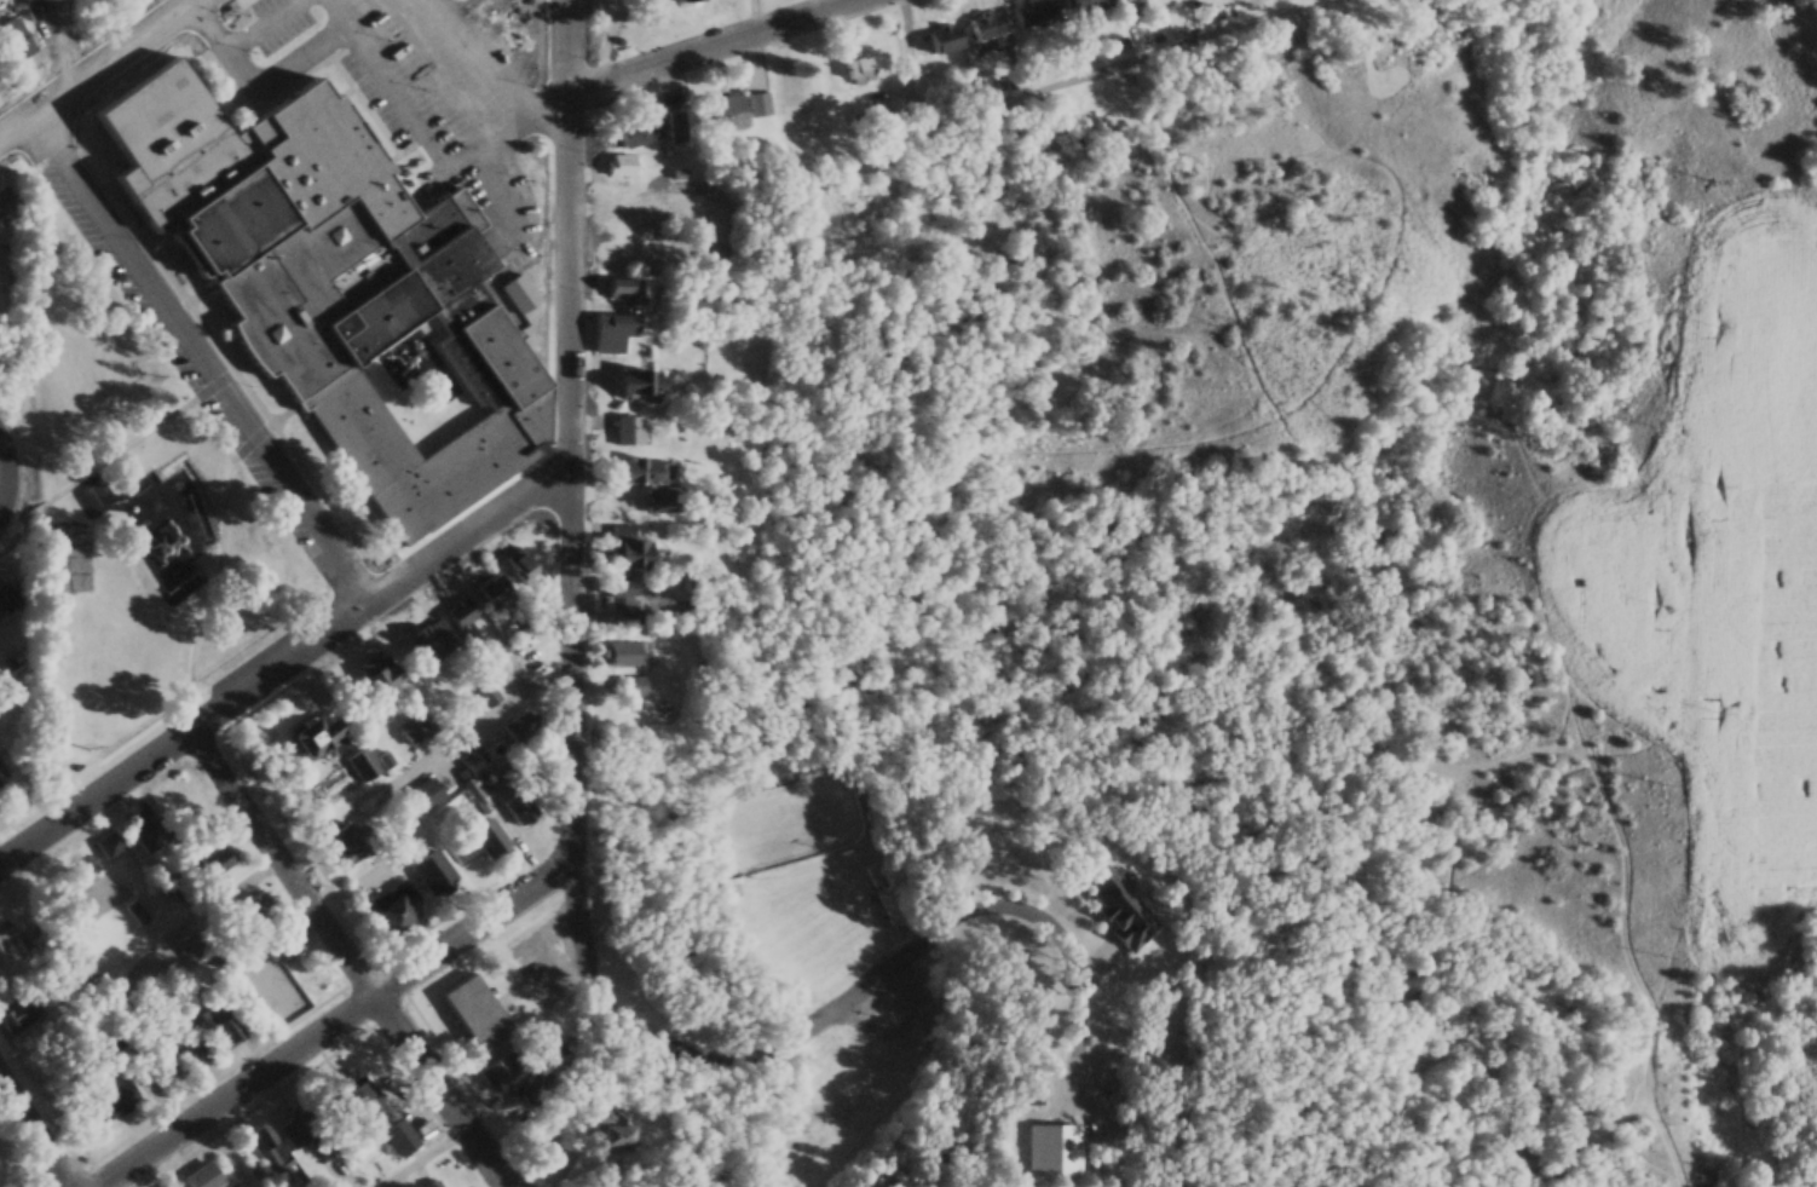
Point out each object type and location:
building: (688, 0)
building: (1080, 4)
building: (1029, 12)
building: (984, 25)
building: (940, 40)
building: (12, 41)
road: (704, 44)
road: (67, 50)
road: (100, 70)
building: (856, 70)
building: (731, 110)
building: (870, 117)
building: (674, 126)
building: (634, 133)
building: (623, 167)
building: (5, 201)
building: (618, 202)
building: (622, 255)
building: (325, 282)
building: (622, 292)
building: (517, 294)
building: (616, 332)
road: (200, 358)
building: (638, 387)
building: (627, 431)
road: (4, 459)
road: (97, 463)
building: (639, 471)
road: (4, 502)
building: (625, 553)
building: (519, 567)
road: (220, 576)
building: (491, 589)
building: (462, 622)
building: (427, 641)
building: (619, 653)
road: (283, 663)
road: (576, 673)
building: (627, 685)
building: (486, 693)
road: (488, 720)
building: (414, 727)
building: (312, 737)
building: (358, 762)
building: (474, 772)
building: (425, 794)
road: (12, 836)
building: (485, 839)
building: (347, 843)
building: (212, 860)
road: (294, 864)
building: (428, 870)
building: (722, 895)
building: (886, 895)
building: (1119, 907)
building: (392, 909)
building: (249, 910)
building: (4, 932)
building: (279, 944)
building: (471, 1014)
building: (17, 1018)
road: (346, 1027)
building: (217, 1028)
building: (184, 1048)
building: (501, 1071)
road: (184, 1091)
building: (1028, 1093)
road: (456, 1094)
building: (113, 1097)
building: (352, 1101)
building: (608, 1129)
road: (38, 1133)
building: (399, 1137)
building: (265, 1147)
building: (1052, 1151)
building: (581, 1172)
building: (212, 1176)
building: (172, 1185)

